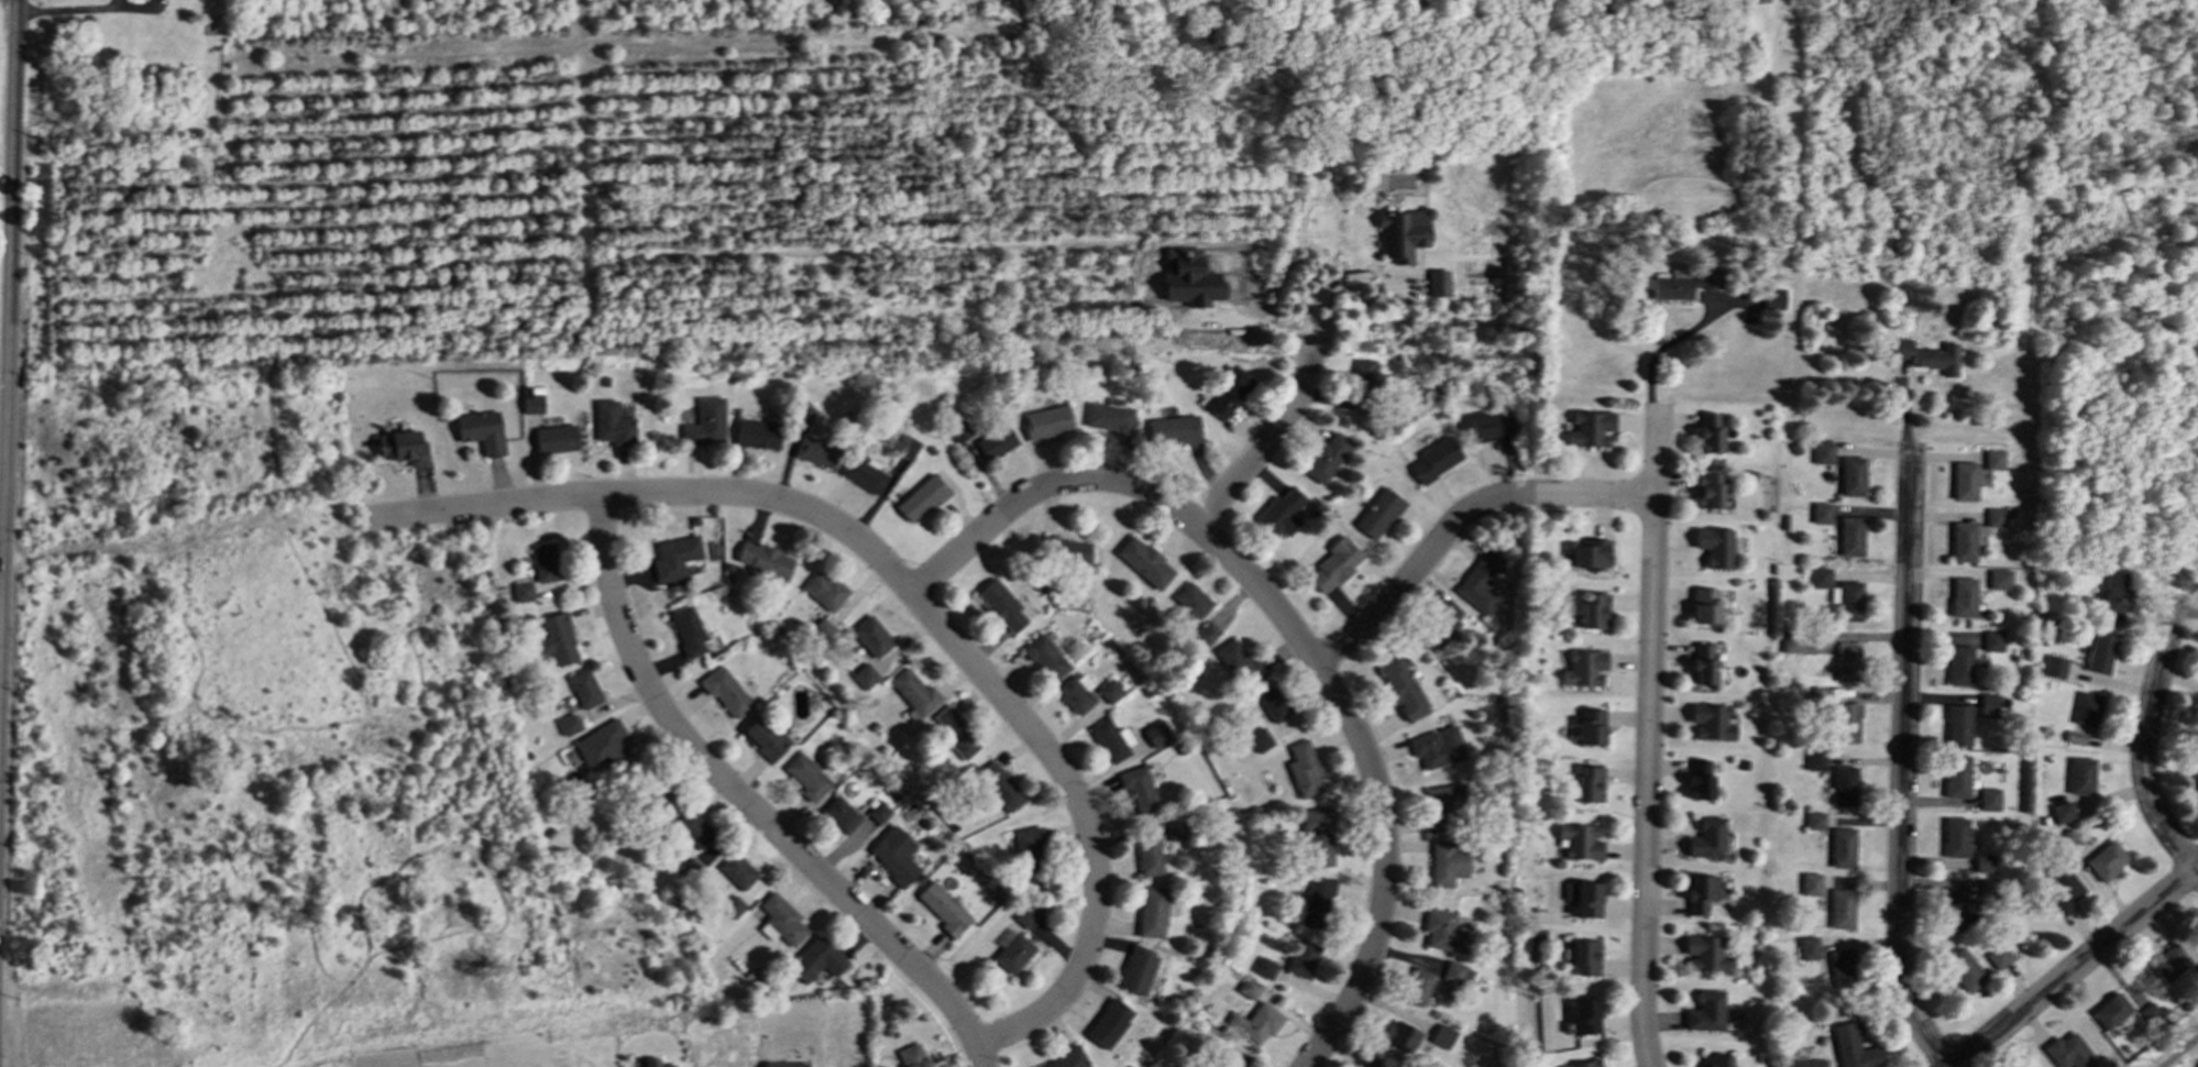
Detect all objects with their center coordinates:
building: (1754, 1)
road: (74, 9)
road: (7, 154)
building: (1402, 233)
building: (1684, 282)
building: (1438, 283)
road: (1329, 290)
road: (8, 318)
road: (1671, 341)
building: (1925, 355)
building: (1361, 385)
building: (1230, 392)
building: (531, 403)
building: (804, 415)
building: (708, 416)
building: (1109, 417)
building: (1047, 421)
building: (613, 424)
building: (1490, 427)
building: (1589, 427)
building: (1173, 429)
building: (481, 430)
building: (959, 430)
building: (1708, 432)
building: (757, 433)
building: (556, 438)
building: (994, 441)
building: (402, 447)
building: (816, 451)
building: (1823, 451)
road: (1254, 455)
building: (1325, 457)
building: (1435, 459)
building: (1993, 459)
building: (862, 474)
building: (1851, 475)
building: (1964, 480)
building: (1707, 490)
building: (921, 498)
building: (1281, 512)
building: (1378, 513)
building: (1821, 513)
building: (1994, 517)
road: (1457, 519)
building: (1850, 536)
building: (1963, 541)
building: (1715, 546)
building: (1073, 552)
building: (1589, 553)
building: (674, 557)
building: (765, 561)
building: (1143, 561)
building: (545, 562)
building: (1336, 563)
building: (1821, 576)
building: (1999, 579)
building: (1479, 582)
building: (824, 590)
road: (906, 590)
building: (523, 591)
building: (1963, 596)
building: (2114, 596)
building: (1849, 599)
building: (1191, 601)
building: (1704, 605)
building: (1001, 606)
building: (1594, 610)
building: (1440, 624)
building: (688, 630)
road: (1290, 630)
building: (1205, 634)
building: (870, 636)
building: (557, 639)
building: (1992, 639)
building: (2099, 652)
building: (1045, 658)
building: (1847, 661)
building: (1240, 663)
building: (1702, 663)
building: (1959, 664)
building: (2054, 665)
building: (1583, 668)
building: (864, 675)
building: (584, 687)
building: (1400, 687)
building: (725, 691)
building: (913, 691)
building: (1109, 691)
building: (1076, 692)
building: (1273, 703)
building: (1988, 704)
building: (2087, 708)
building: (1710, 721)
building: (1846, 722)
building: (569, 724)
building: (1958, 724)
building: (1591, 726)
building: (955, 732)
building: (1156, 733)
road: (1648, 736)
building: (765, 737)
building: (1110, 739)
building: (1259, 739)
road: (2142, 740)
building: (601, 745)
building: (1437, 747)
park: (276, 758)
building: (1815, 759)
road: (1902, 761)
building: (1303, 769)
building: (805, 776)
building: (1956, 776)
building: (2080, 776)
building: (2195, 778)
building: (1700, 779)
building: (1590, 783)
building: (1844, 784)
building: (1000, 785)
building: (1139, 790)
building: (1989, 799)
building: (662, 801)
road: (747, 804)
building: (1442, 804)
building: (878, 812)
building: (2062, 812)
building: (839, 814)
building: (1814, 821)
building: (694, 829)
building: (1177, 831)
building: (1317, 836)
building: (1955, 836)
building: (1706, 838)
building: (1579, 840)
building: (2067, 840)
building: (1843, 847)
building: (1029, 848)
building: (893, 854)
building: (1149, 856)
building: (2106, 859)
building: (1446, 862)
building: (1983, 862)
building: (737, 870)
building: (1811, 883)
building: (1700, 892)
building: (2063, 892)
building: (1583, 898)
building: (1316, 901)
building: (733, 905)
building: (943, 908)
building: (1840, 908)
building: (1954, 910)
building: (1152, 911)
building: (1024, 916)
building: (780, 920)
building: (1443, 931)
building: (1809, 947)
building: (1012, 953)
building: (1704, 953)
building: (1584, 956)
building: (1998, 956)
building: (1301, 958)
building: (814, 959)
building: (2168, 961)
building: (1840, 964)
road: (2075, 966)
building: (1264, 967)
building: (1964, 968)
building: (1136, 970)
building: (1455, 974)
building: (1417, 986)
building: (1249, 987)
building: (2110, 1010)
building: (1705, 1011)
building: (2151, 1013)
building: (1584, 1015)
building: (1255, 1022)
building: (1108, 1023)
building: (1400, 1035)
building: (1441, 1036)
building: (1853, 1047)
building: (2069, 1052)
road: (2180, 1052)
building: (912, 1056)
building: (1068, 1058)
building: (1230, 1058)
building: (1715, 1060)
building: (653, 1063)
building: (1798, 1063)
building: (783, 1064)
building: (1367, 1064)
building: (1585, 1064)
building: (2197, 1066)

